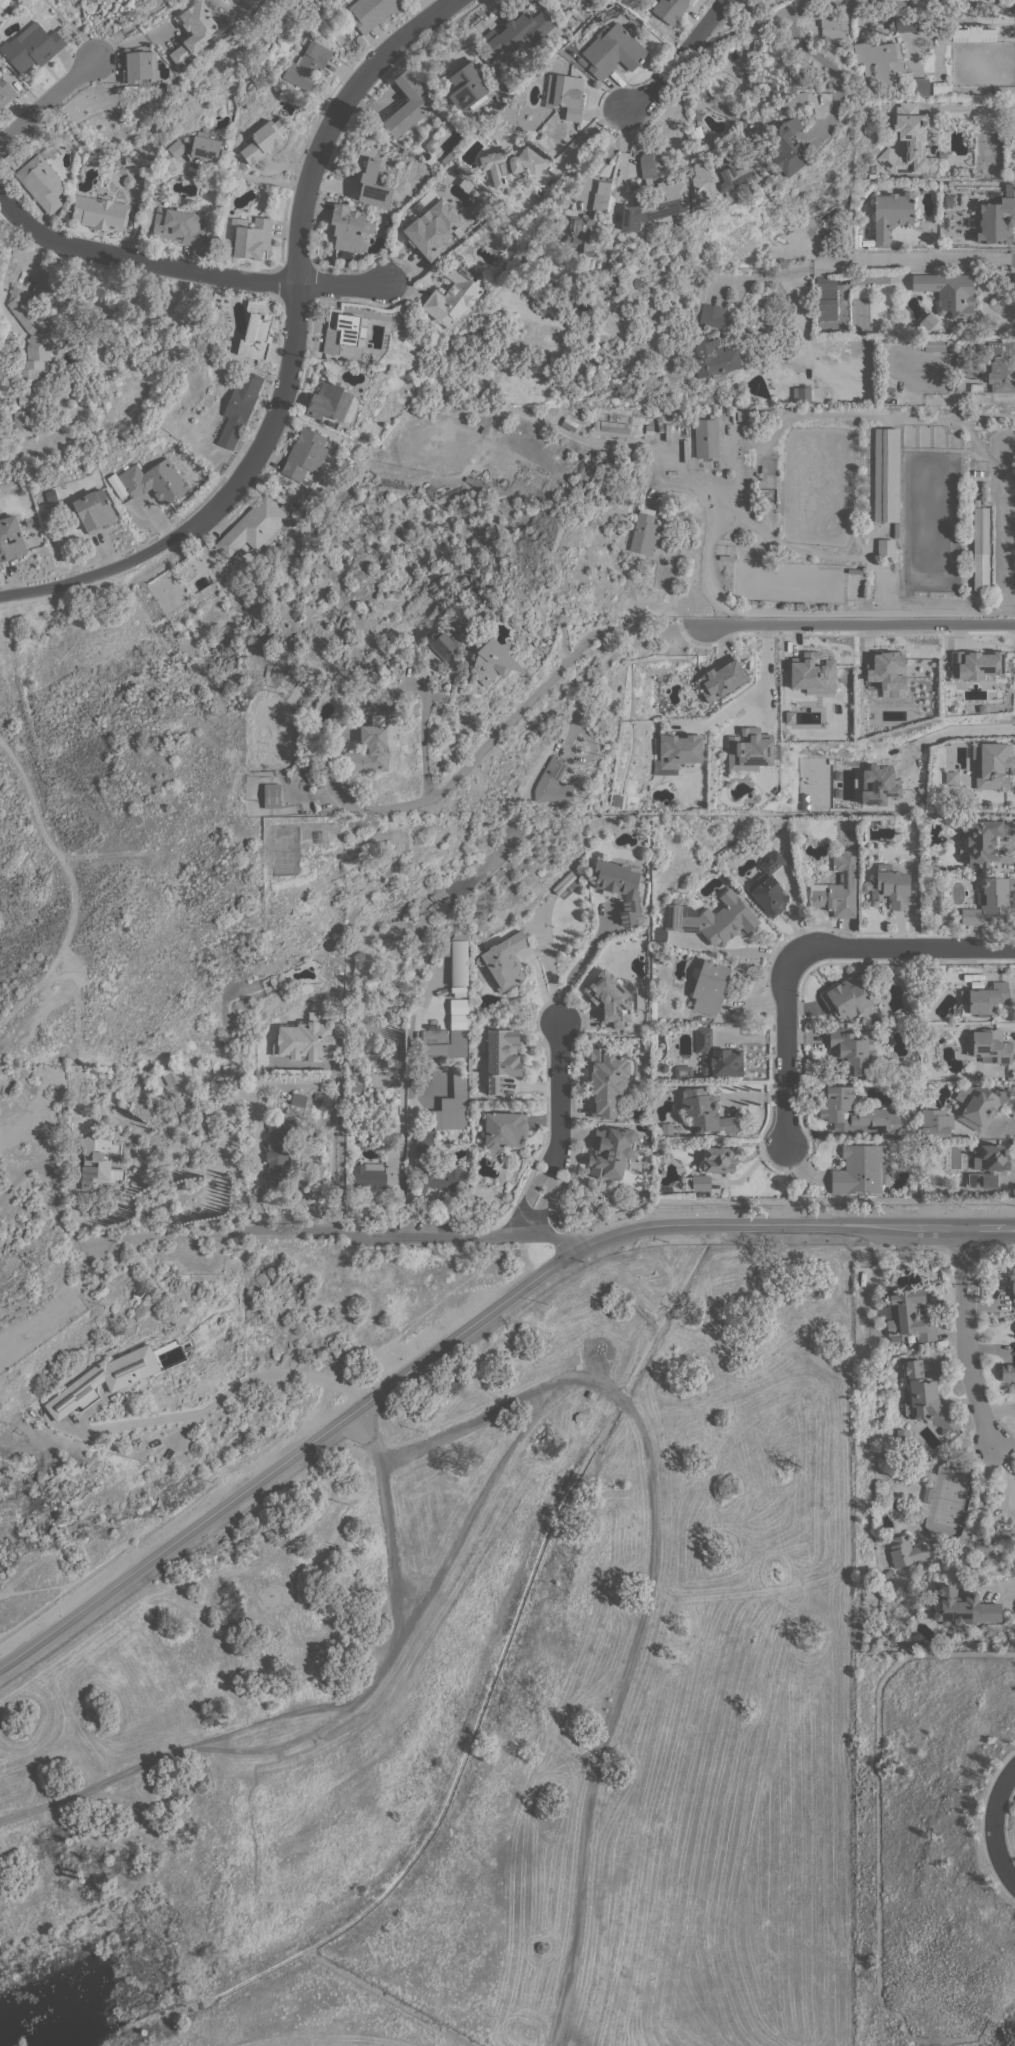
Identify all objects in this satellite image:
building: (670, 9)
building: (371, 12)
building: (834, 23)
building: (905, 24)
road: (126, 29)
building: (194, 31)
building: (518, 33)
building: (973, 33)
road: (797, 41)
building: (34, 45)
building: (612, 50)
building: (485, 56)
road: (679, 60)
building: (581, 61)
building: (878, 61)
building: (307, 64)
building: (752, 66)
building: (140, 68)
building: (917, 85)
building: (468, 88)
building: (940, 88)
building: (1004, 90)
building: (5, 92)
building: (565, 94)
road: (703, 94)
road: (46, 98)
building: (794, 100)
building: (697, 103)
building: (406, 105)
road: (967, 106)
building: (698, 131)
building: (433, 139)
building: (262, 140)
building: (908, 142)
building: (205, 145)
building: (176, 148)
building: (787, 148)
building: (450, 155)
road: (622, 161)
building: (647, 165)
building: (510, 167)
building: (959, 170)
building: (700, 174)
building: (768, 178)
building: (128, 180)
building: (737, 181)
building: (41, 182)
building: (373, 185)
building: (667, 198)
building: (599, 201)
building: (480, 208)
building: (99, 212)
building: (891, 214)
building: (634, 215)
building: (997, 217)
building: (177, 225)
building: (431, 228)
building: (348, 229)
building: (579, 232)
building: (250, 236)
road: (916, 258)
road: (186, 269)
building: (949, 293)
building: (454, 294)
building: (826, 298)
building: (109, 307)
building: (809, 312)
building: (710, 315)
building: (927, 320)
building: (256, 330)
building: (344, 332)
building: (937, 344)
building: (11, 349)
road: (293, 353)
building: (713, 357)
building: (29, 358)
building: (1002, 366)
building: (955, 386)
building: (976, 386)
building: (801, 393)
building: (332, 402)
building: (239, 407)
building: (754, 415)
building: (673, 416)
building: (594, 422)
building: (569, 423)
building: (614, 426)
building: (648, 429)
building: (706, 437)
building: (304, 455)
building: (886, 475)
building: (149, 481)
building: (475, 482)
building: (984, 486)
building: (984, 498)
building: (976, 502)
building: (94, 510)
building: (253, 526)
building: (895, 529)
building: (644, 532)
building: (10, 538)
road: (708, 544)
building: (885, 547)
building: (980, 548)
road: (853, 622)
building: (441, 643)
road: (608, 659)
building: (493, 661)
building: (974, 664)
building: (886, 672)
building: (811, 673)
building: (720, 679)
road: (761, 682)
road: (508, 719)
road: (954, 731)
building: (369, 748)
building: (748, 749)
building: (675, 752)
building: (992, 766)
building: (311, 775)
building: (949, 777)
building: (553, 782)
building: (876, 785)
building: (272, 795)
building: (872, 823)
building: (322, 837)
building: (982, 839)
building: (788, 844)
building: (769, 885)
building: (619, 886)
building: (839, 887)
building: (890, 887)
building: (989, 900)
building: (422, 906)
building: (708, 920)
road: (901, 946)
building: (643, 950)
building: (457, 958)
building: (504, 961)
road: (576, 966)
building: (276, 981)
building: (710, 986)
building: (610, 996)
building: (849, 999)
building: (984, 1001)
building: (451, 1033)
building: (307, 1039)
building: (989, 1045)
road: (786, 1049)
building: (851, 1050)
building: (501, 1056)
building: (717, 1056)
building: (663, 1067)
building: (215, 1071)
building: (225, 1071)
building: (683, 1072)
building: (171, 1075)
building: (608, 1080)
road: (560, 1084)
road: (325, 1086)
building: (355, 1086)
building: (318, 1096)
building: (298, 1099)
building: (979, 1104)
building: (835, 1108)
building: (705, 1111)
building: (446, 1112)
building: (935, 1123)
building: (505, 1130)
building: (278, 1151)
building: (612, 1151)
road: (257, 1156)
building: (718, 1159)
building: (100, 1161)
building: (987, 1165)
building: (378, 1170)
building: (860, 1170)
road: (785, 1176)
building: (438, 1177)
building: (701, 1182)
road: (529, 1191)
road: (546, 1194)
road: (824, 1210)
road: (792, 1223)
road: (143, 1236)
road: (464, 1237)
road: (945, 1248)
building: (92, 1268)
building: (945, 1269)
building: (1012, 1282)
building: (910, 1316)
road: (966, 1339)
building: (1008, 1371)
building: (104, 1379)
road: (220, 1395)
building: (589, 1395)
building: (925, 1398)
building: (19, 1431)
building: (902, 1433)
road: (287, 1458)
building: (926, 1493)
road: (475, 1508)
park: (72, 1513)
road: (978, 1513)
building: (905, 1550)
building: (888, 1571)
road: (288, 1578)
road: (1013, 1590)
road: (646, 1592)
building: (963, 1607)
building: (928, 1644)
road: (278, 1717)
road: (326, 1722)
road: (992, 1825)
road: (878, 1827)
road: (991, 2017)
road: (309, 2041)

